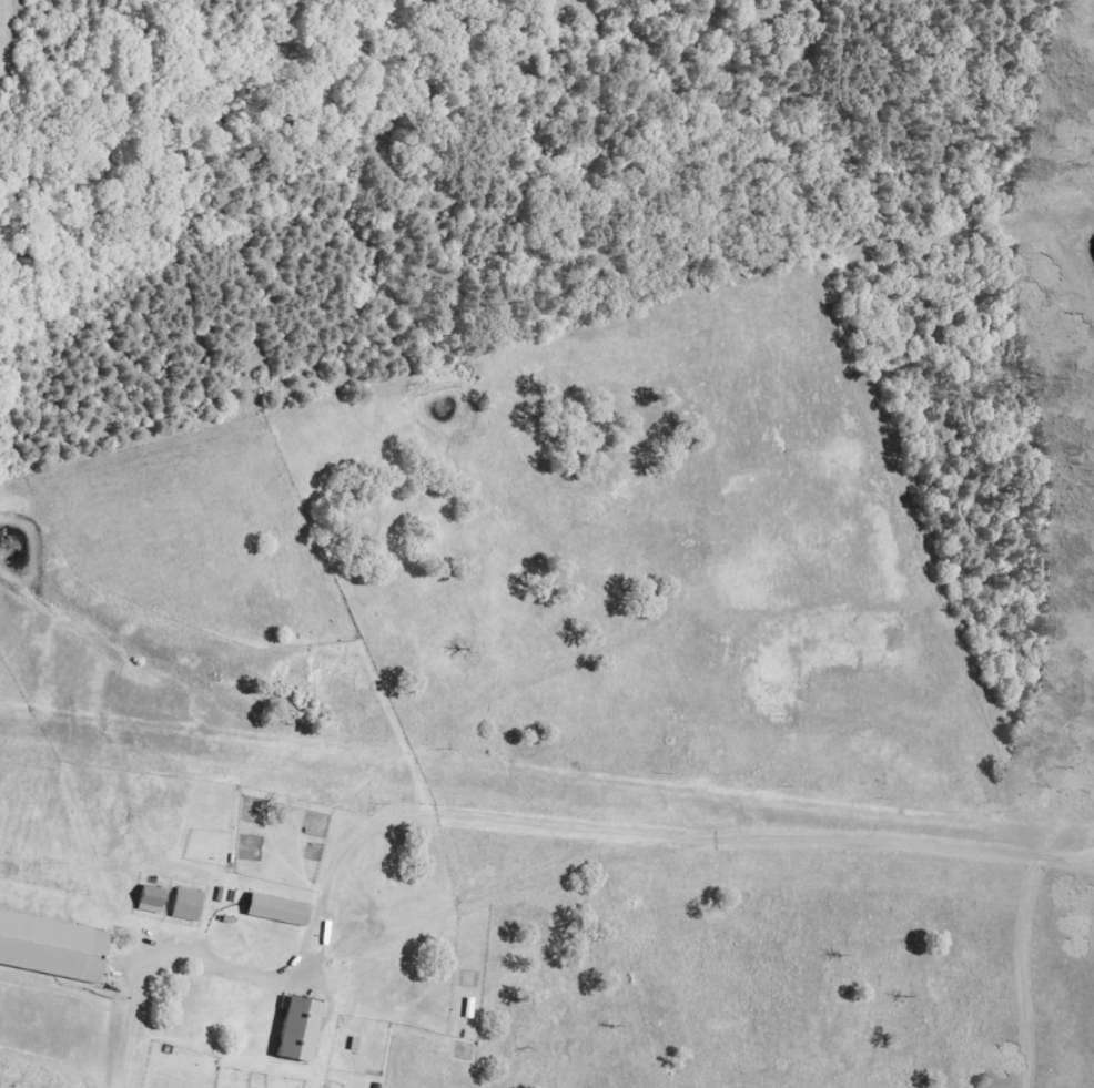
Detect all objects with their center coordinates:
road: (913, 832)
building: (153, 902)
road: (322, 905)
building: (190, 906)
building: (281, 912)
building: (53, 949)
road: (1022, 966)
building: (302, 1031)

